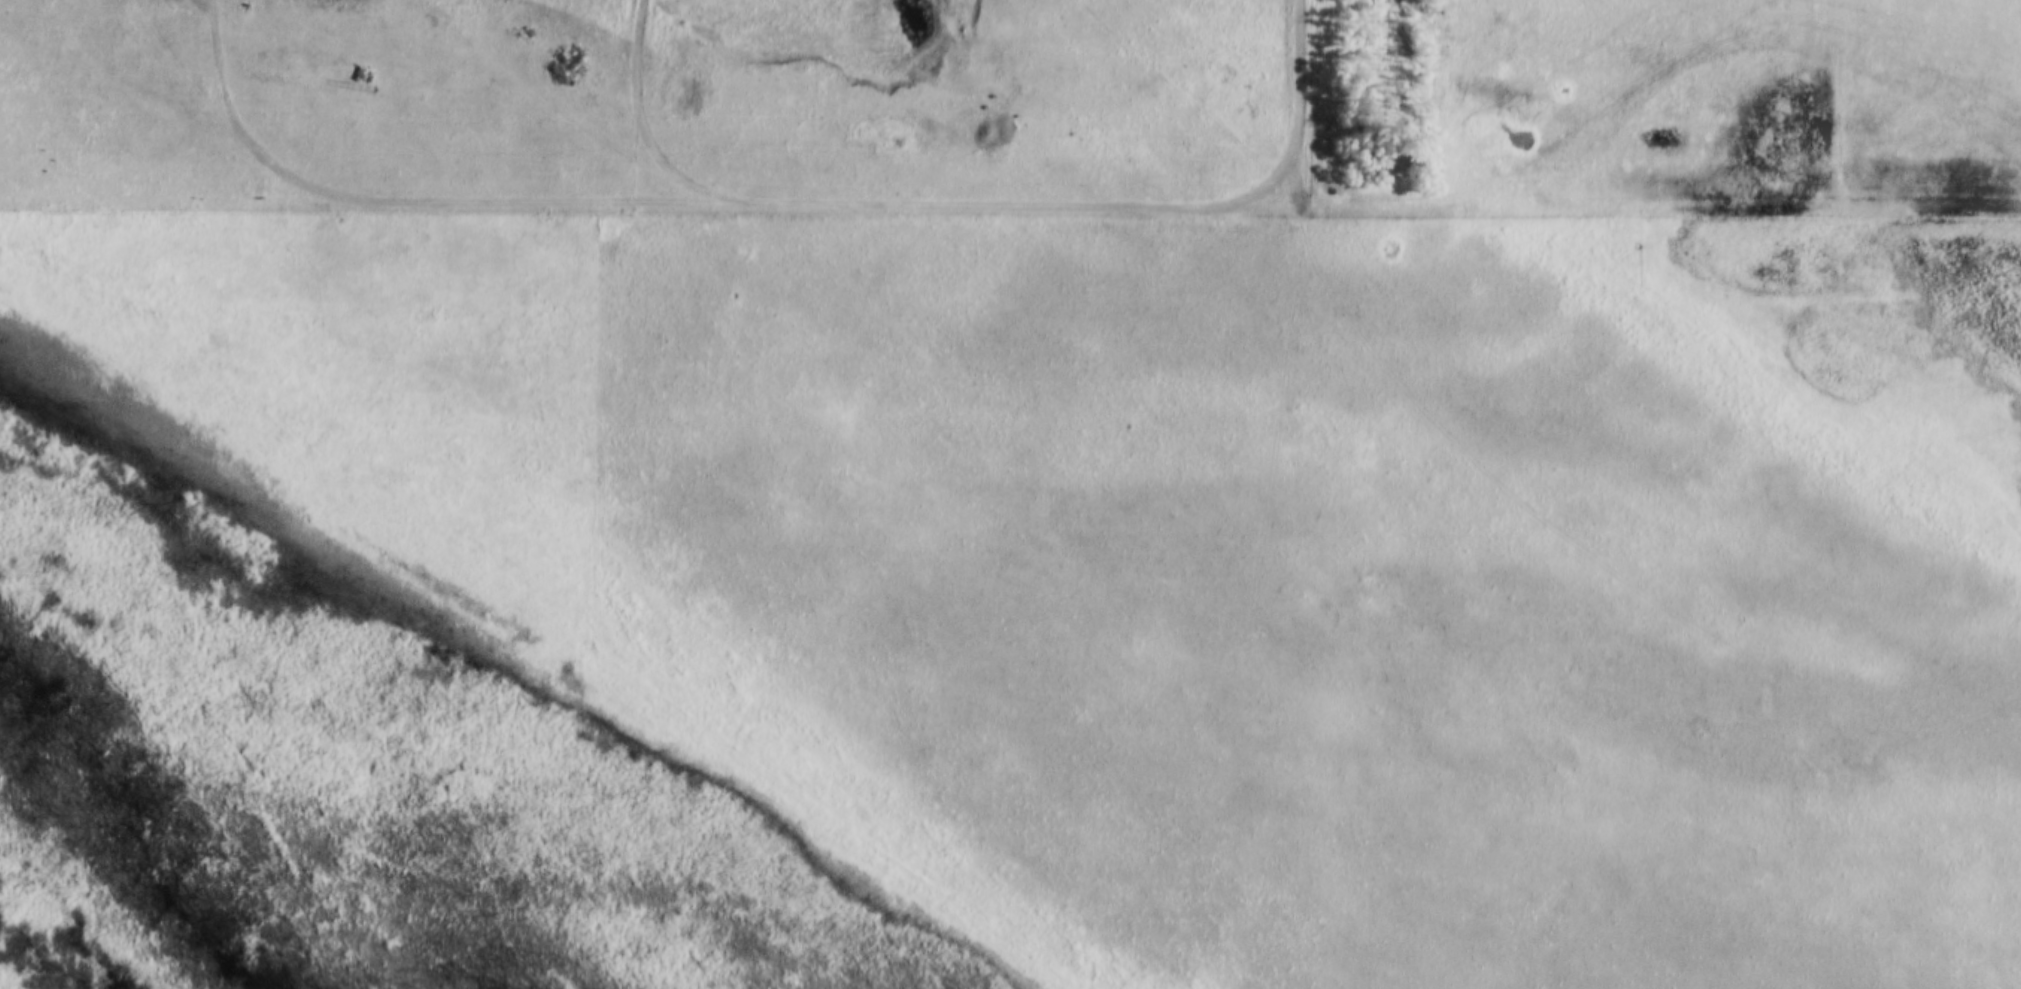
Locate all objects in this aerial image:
building: (452, 8)
quarry: (593, 91)
road: (918, 201)

